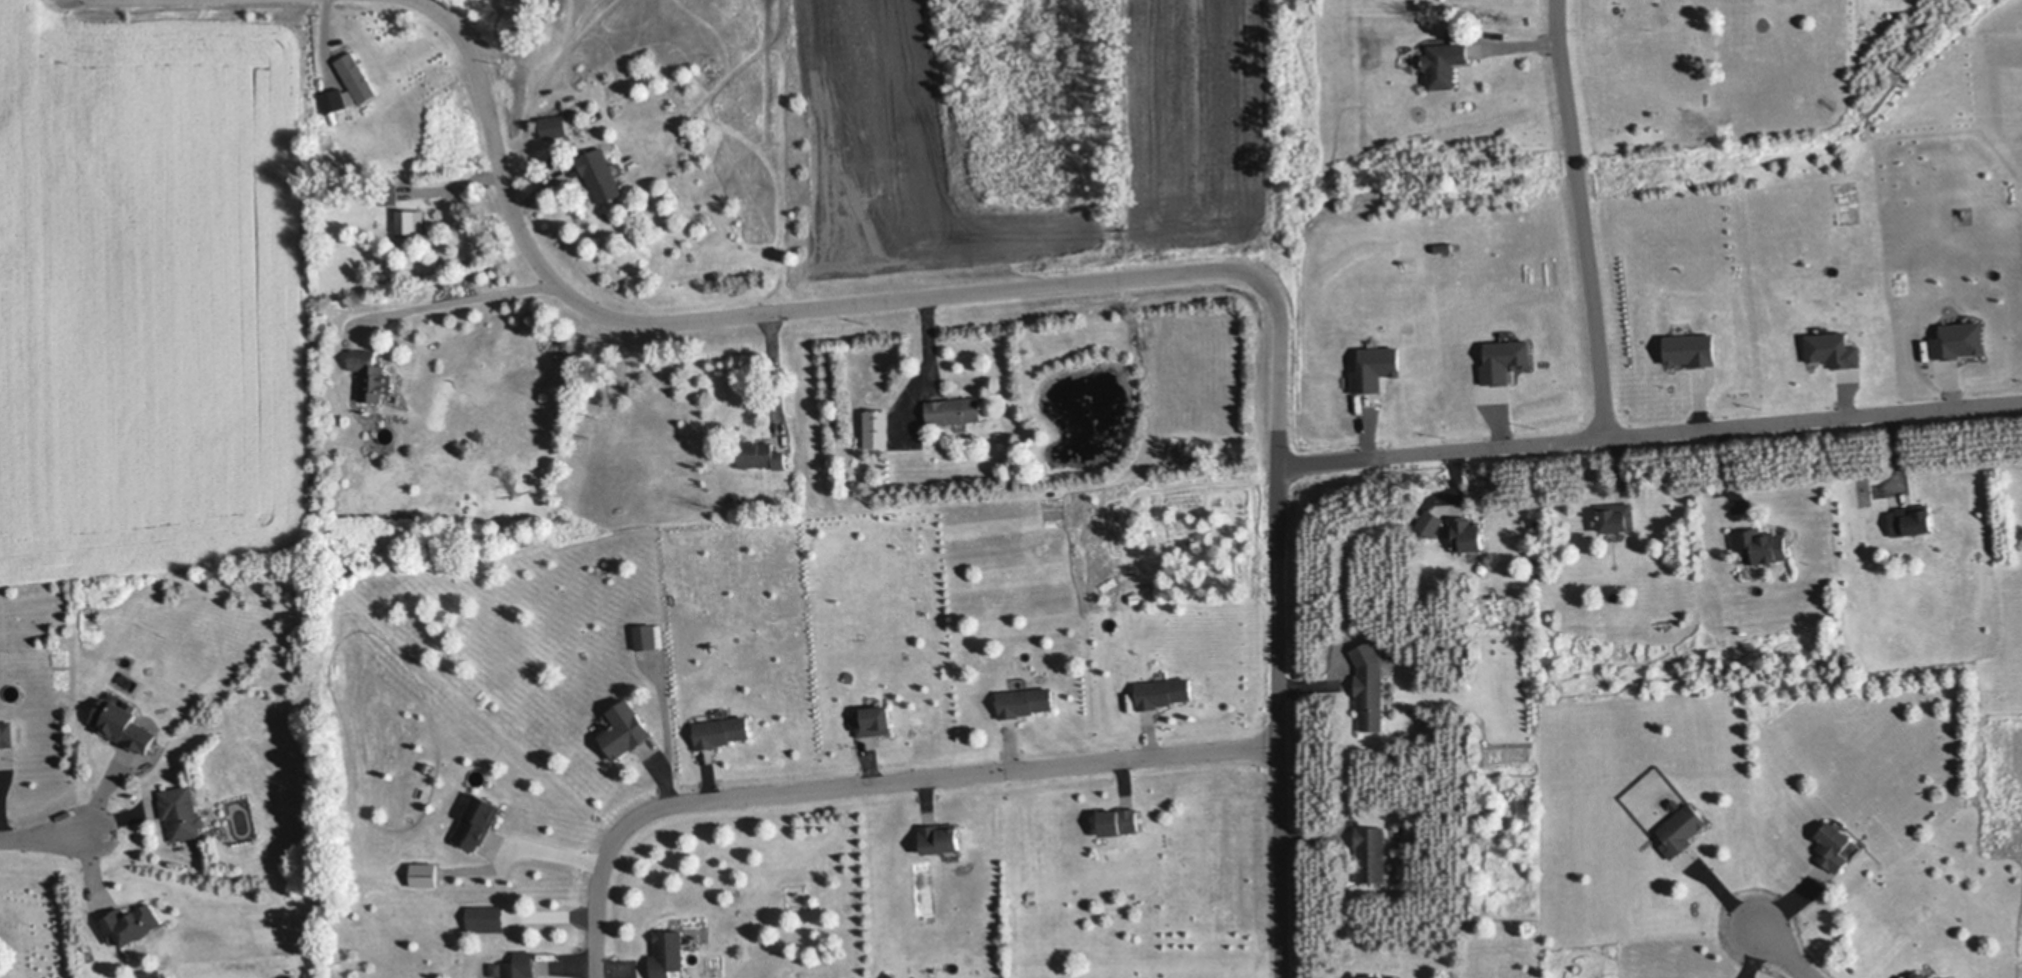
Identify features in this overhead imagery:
road: (427, 1)
building: (1452, 30)
building: (1444, 62)
building: (357, 77)
building: (334, 101)
building: (554, 124)
building: (601, 174)
building: (388, 192)
road: (1582, 217)
building: (411, 220)
road: (1090, 283)
road: (452, 305)
building: (1962, 342)
building: (1693, 351)
building: (1836, 351)
building: (1507, 362)
building: (1378, 370)
building: (371, 375)
building: (954, 409)
building: (878, 428)
road: (1652, 431)
building: (761, 454)
building: (1616, 516)
building: (1912, 519)
building: (1430, 521)
building: (1466, 533)
building: (1760, 544)
building: (646, 636)
building: (1164, 691)
building: (1370, 699)
building: (1025, 701)
building: (874, 720)
building: (123, 724)
building: (625, 729)
building: (721, 731)
building: (7, 733)
building: (426, 766)
road: (868, 783)
building: (182, 812)
building: (477, 821)
building: (1119, 821)
building: (1681, 829)
road: (43, 834)
building: (940, 837)
building: (1834, 846)
building: (1371, 853)
building: (426, 876)
building: (487, 918)
building: (129, 924)
building: (669, 953)
road: (1782, 954)
building: (520, 965)
building: (496, 969)
building: (1924, 975)
building: (1372, 976)

